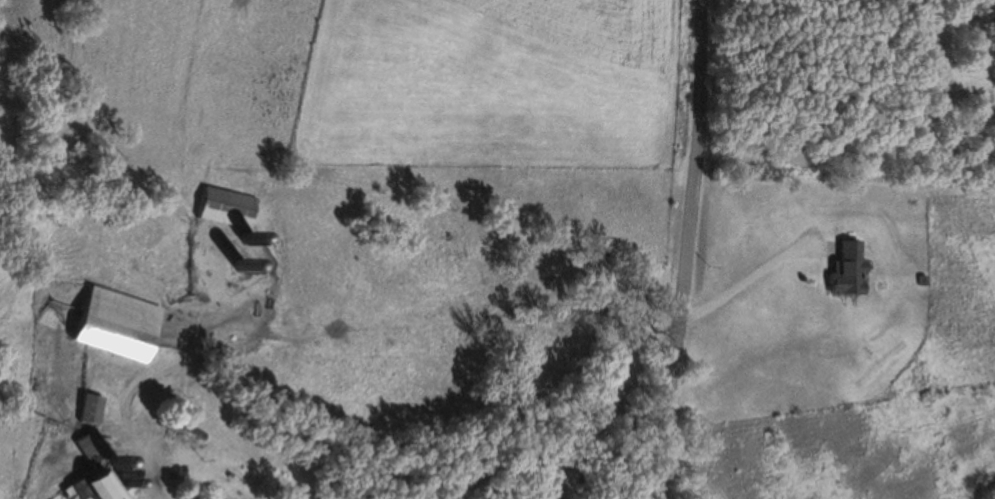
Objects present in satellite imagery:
building: (224, 210)
road: (688, 250)
building: (843, 271)
road: (746, 278)
building: (114, 326)
building: (87, 411)
building: (86, 452)
building: (91, 487)

